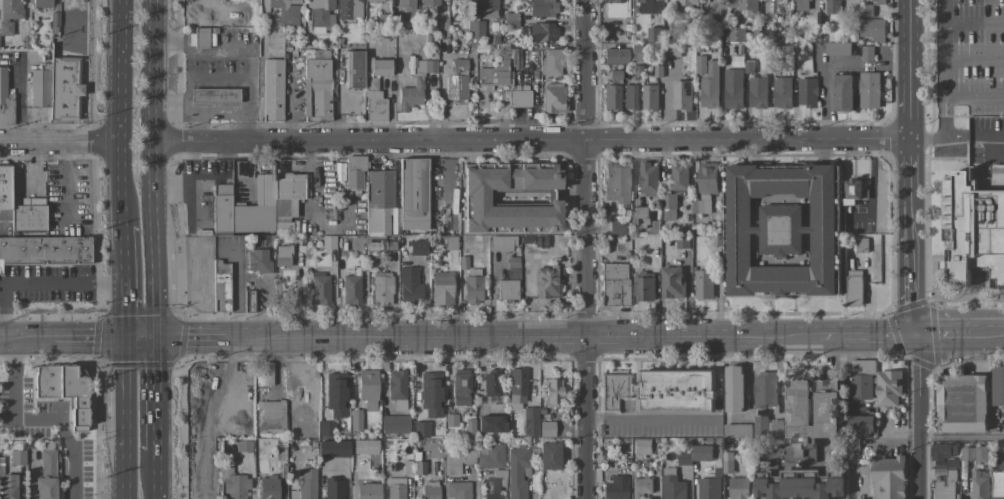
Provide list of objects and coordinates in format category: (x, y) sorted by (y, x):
building: (373, 0)
building: (878, 1)
building: (429, 2)
building: (687, 2)
building: (42, 3)
building: (801, 4)
building: (650, 6)
building: (745, 6)
building: (406, 7)
building: (485, 7)
building: (541, 7)
building: (770, 7)
building: (833, 7)
building: (615, 8)
building: (347, 9)
building: (866, 10)
road: (944, 12)
building: (283, 13)
building: (9, 15)
building: (319, 16)
building: (510, 20)
building: (378, 21)
building: (53, 22)
building: (400, 22)
road: (974, 23)
building: (475, 29)
building: (871, 29)
building: (541, 32)
building: (654, 34)
building: (738, 34)
building: (837, 48)
building: (672, 50)
building: (636, 53)
building: (867, 54)
building: (614, 56)
building: (514, 57)
road: (945, 60)
road: (974, 60)
building: (549, 62)
building: (700, 64)
building: (376, 66)
building: (425, 66)
building: (748, 66)
building: (353, 69)
building: (638, 71)
building: (657, 71)
building: (492, 72)
building: (614, 74)
building: (455, 82)
building: (709, 86)
building: (56, 87)
building: (733, 88)
building: (868, 89)
building: (272, 90)
building: (315, 90)
building: (758, 92)
building: (782, 92)
building: (807, 92)
building: (842, 92)
building: (410, 93)
building: (212, 95)
building: (516, 95)
building: (681, 95)
building: (610, 97)
building: (629, 97)
building: (649, 97)
building: (551, 98)
building: (5, 100)
building: (373, 101)
road: (945, 106)
road: (119, 113)
road: (531, 139)
road: (59, 141)
road: (154, 168)
building: (339, 172)
building: (354, 172)
building: (998, 172)
building: (679, 177)
building: (648, 178)
building: (614, 183)
building: (705, 187)
road: (872, 187)
building: (854, 191)
building: (412, 194)
building: (472, 195)
building: (378, 202)
building: (257, 203)
building: (668, 205)
building: (20, 206)
building: (638, 215)
building: (394, 221)
building: (616, 227)
building: (780, 229)
building: (972, 231)
building: (682, 241)
building: (327, 242)
building: (448, 243)
building: (500, 243)
building: (862, 245)
building: (415, 247)
road: (584, 249)
road: (910, 249)
building: (45, 250)
building: (282, 256)
building: (257, 261)
building: (461, 262)
road: (124, 281)
building: (546, 282)
building: (672, 282)
road: (36, 284)
building: (612, 284)
building: (704, 284)
building: (409, 285)
building: (219, 286)
building: (471, 286)
building: (854, 287)
building: (318, 288)
building: (350, 288)
building: (380, 288)
building: (440, 288)
building: (644, 288)
building: (506, 290)
road: (235, 296)
building: (247, 301)
railway: (575, 321)
railway: (73, 326)
railway: (575, 329)
railway: (73, 334)
road: (986, 334)
road: (867, 335)
traffic signals: (914, 335)
road: (941, 335)
road: (521, 336)
road: (91, 337)
traffic signals: (128, 337)
road: (145, 337)
traffic signals: (162, 337)
road: (192, 337)
road: (6, 338)
road: (34, 338)
building: (262, 374)
building: (861, 378)
building: (489, 382)
building: (998, 384)
building: (516, 385)
building: (459, 387)
building: (887, 387)
building: (366, 388)
building: (396, 388)
building: (733, 388)
building: (661, 389)
building: (765, 389)
building: (62, 391)
building: (334, 393)
building: (430, 393)
building: (551, 393)
road: (161, 394)
building: (961, 402)
building: (270, 417)
building: (808, 417)
road: (127, 418)
road: (651, 418)
road: (36, 419)
building: (354, 420)
building: (450, 420)
building: (529, 421)
building: (489, 423)
building: (860, 423)
building: (394, 424)
building: (761, 426)
building: (776, 427)
building: (325, 429)
building: (420, 429)
building: (468, 429)
building: (545, 429)
building: (737, 430)
road: (961, 436)
building: (242, 446)
building: (641, 446)
building: (361, 447)
building: (330, 448)
building: (941, 450)
building: (705, 452)
building: (967, 453)
building: (981, 453)
building: (547, 455)
building: (489, 456)
building: (17, 457)
building: (683, 457)
building: (456, 461)
building: (727, 462)
building: (952, 462)
building: (406, 467)
building: (418, 468)
building: (516, 472)
building: (46, 473)
road: (160, 475)
building: (887, 477)
building: (232, 483)
building: (306, 483)
building: (797, 483)
building: (493, 484)
building: (672, 485)
building: (978, 485)
building: (997, 485)
building: (8, 486)
building: (639, 486)
building: (945, 486)
building: (266, 487)
building: (614, 487)
building: (331, 488)
building: (394, 488)
building: (708, 488)
building: (738, 488)
building: (366, 490)
building: (456, 490)
building: (428, 491)

